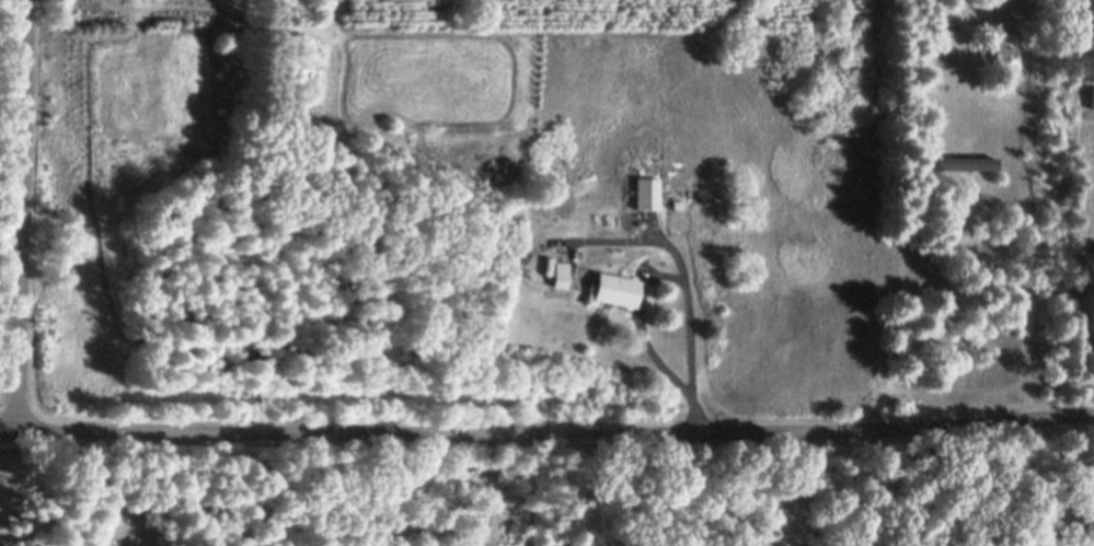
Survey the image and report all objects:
building: (1009, 61)
building: (1092, 108)
building: (966, 172)
building: (646, 201)
road: (22, 214)
road: (670, 277)
building: (560, 283)
building: (613, 299)
road: (546, 432)

